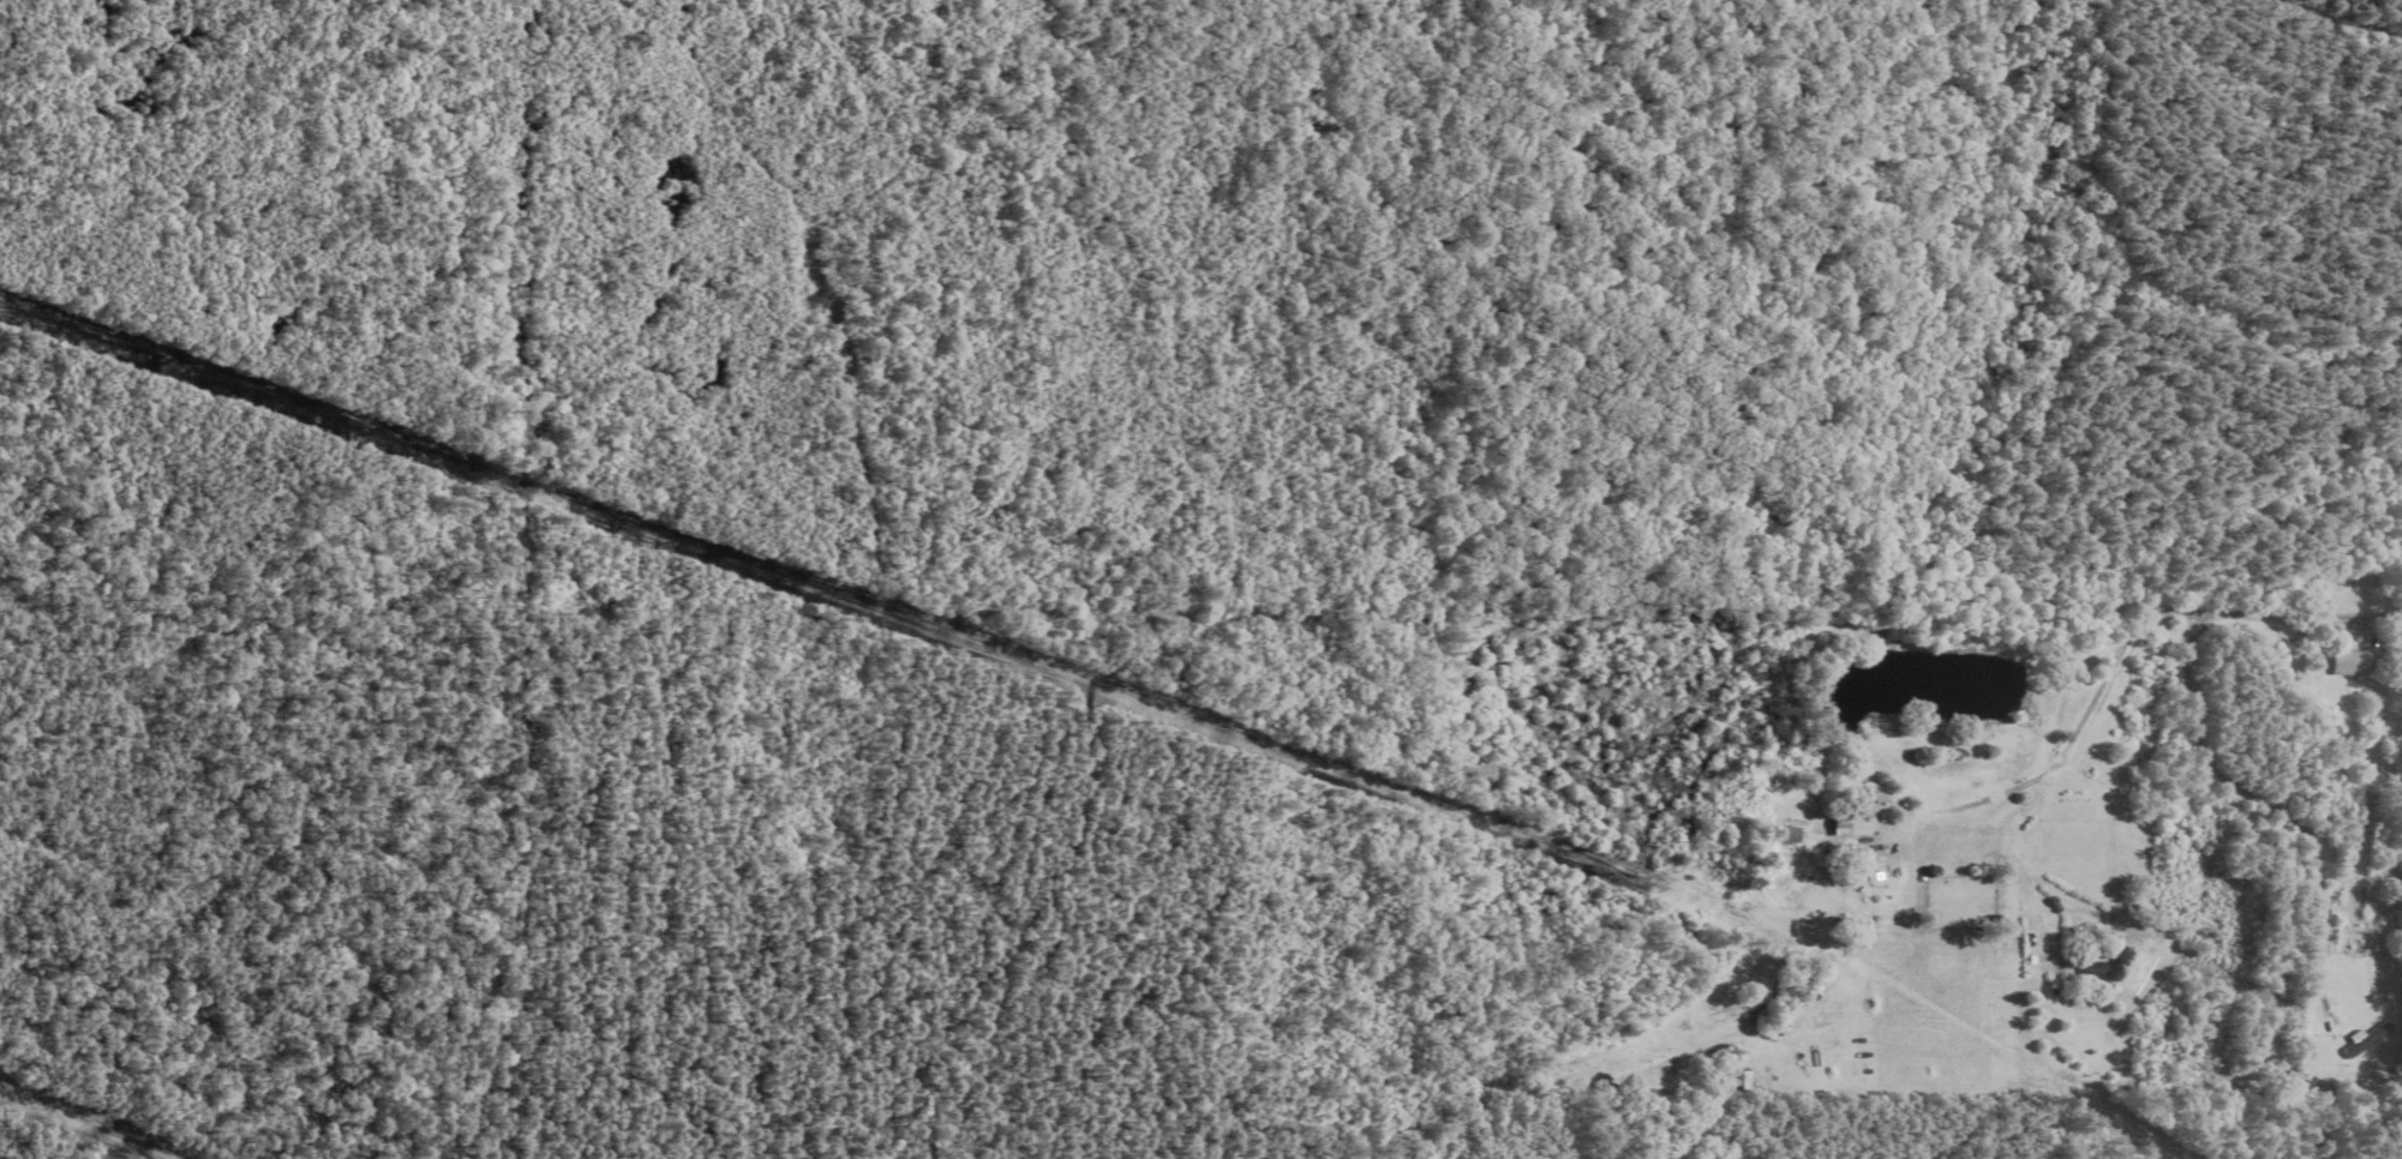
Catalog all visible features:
road: (2118, 642)
building: (2346, 663)
road: (2256, 794)
road: (2020, 847)

